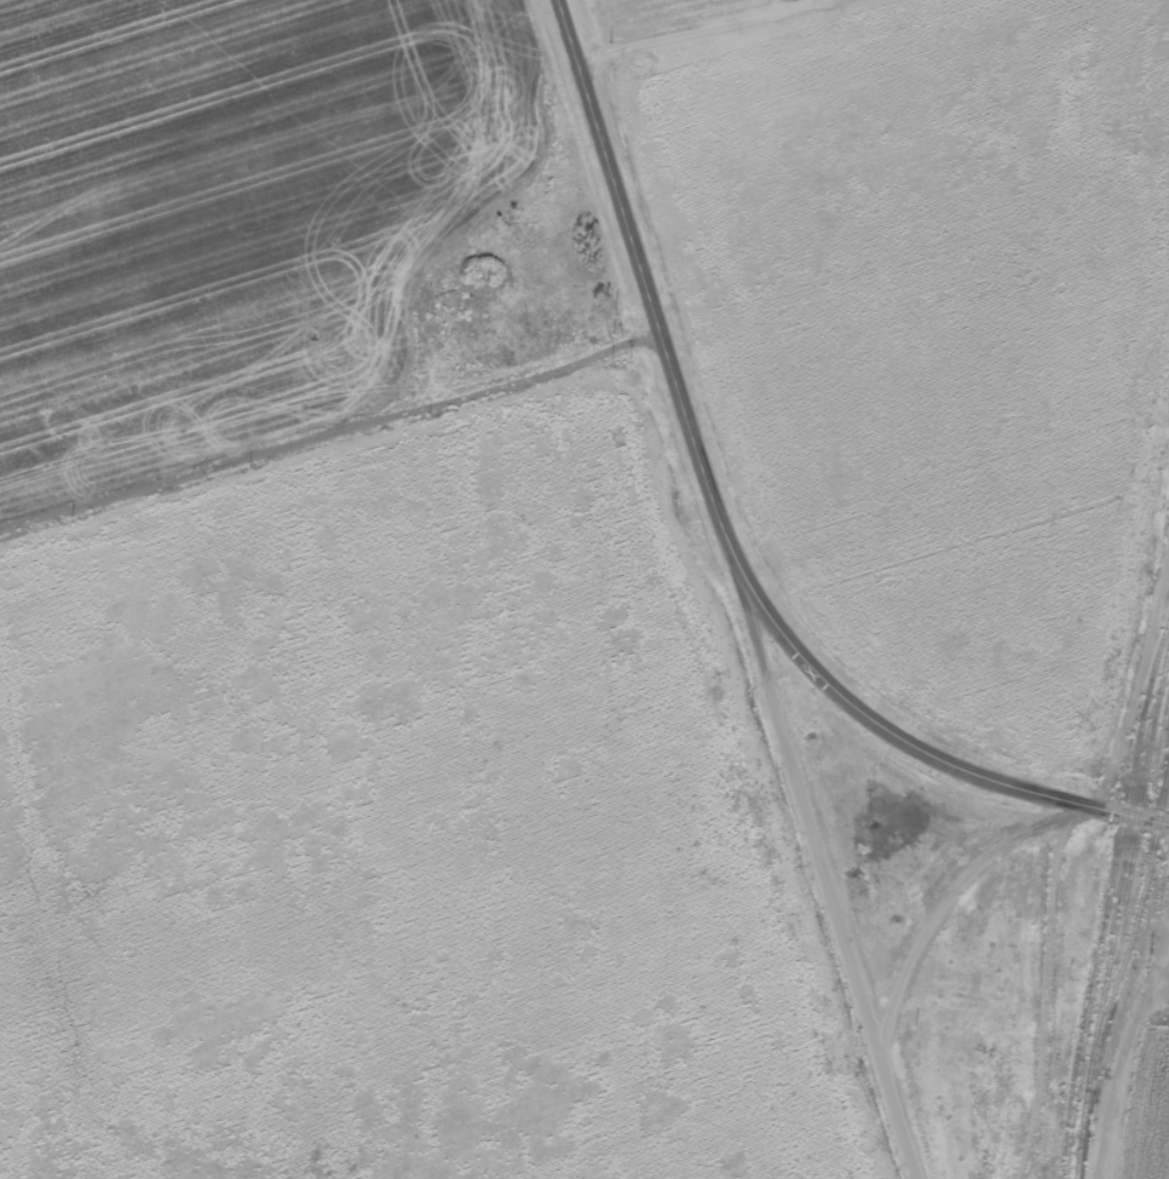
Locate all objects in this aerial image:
road: (339, 456)
road: (731, 531)
road: (808, 804)
railway: (1107, 902)
railway: (1142, 911)
railway: (1119, 920)
road: (914, 959)

